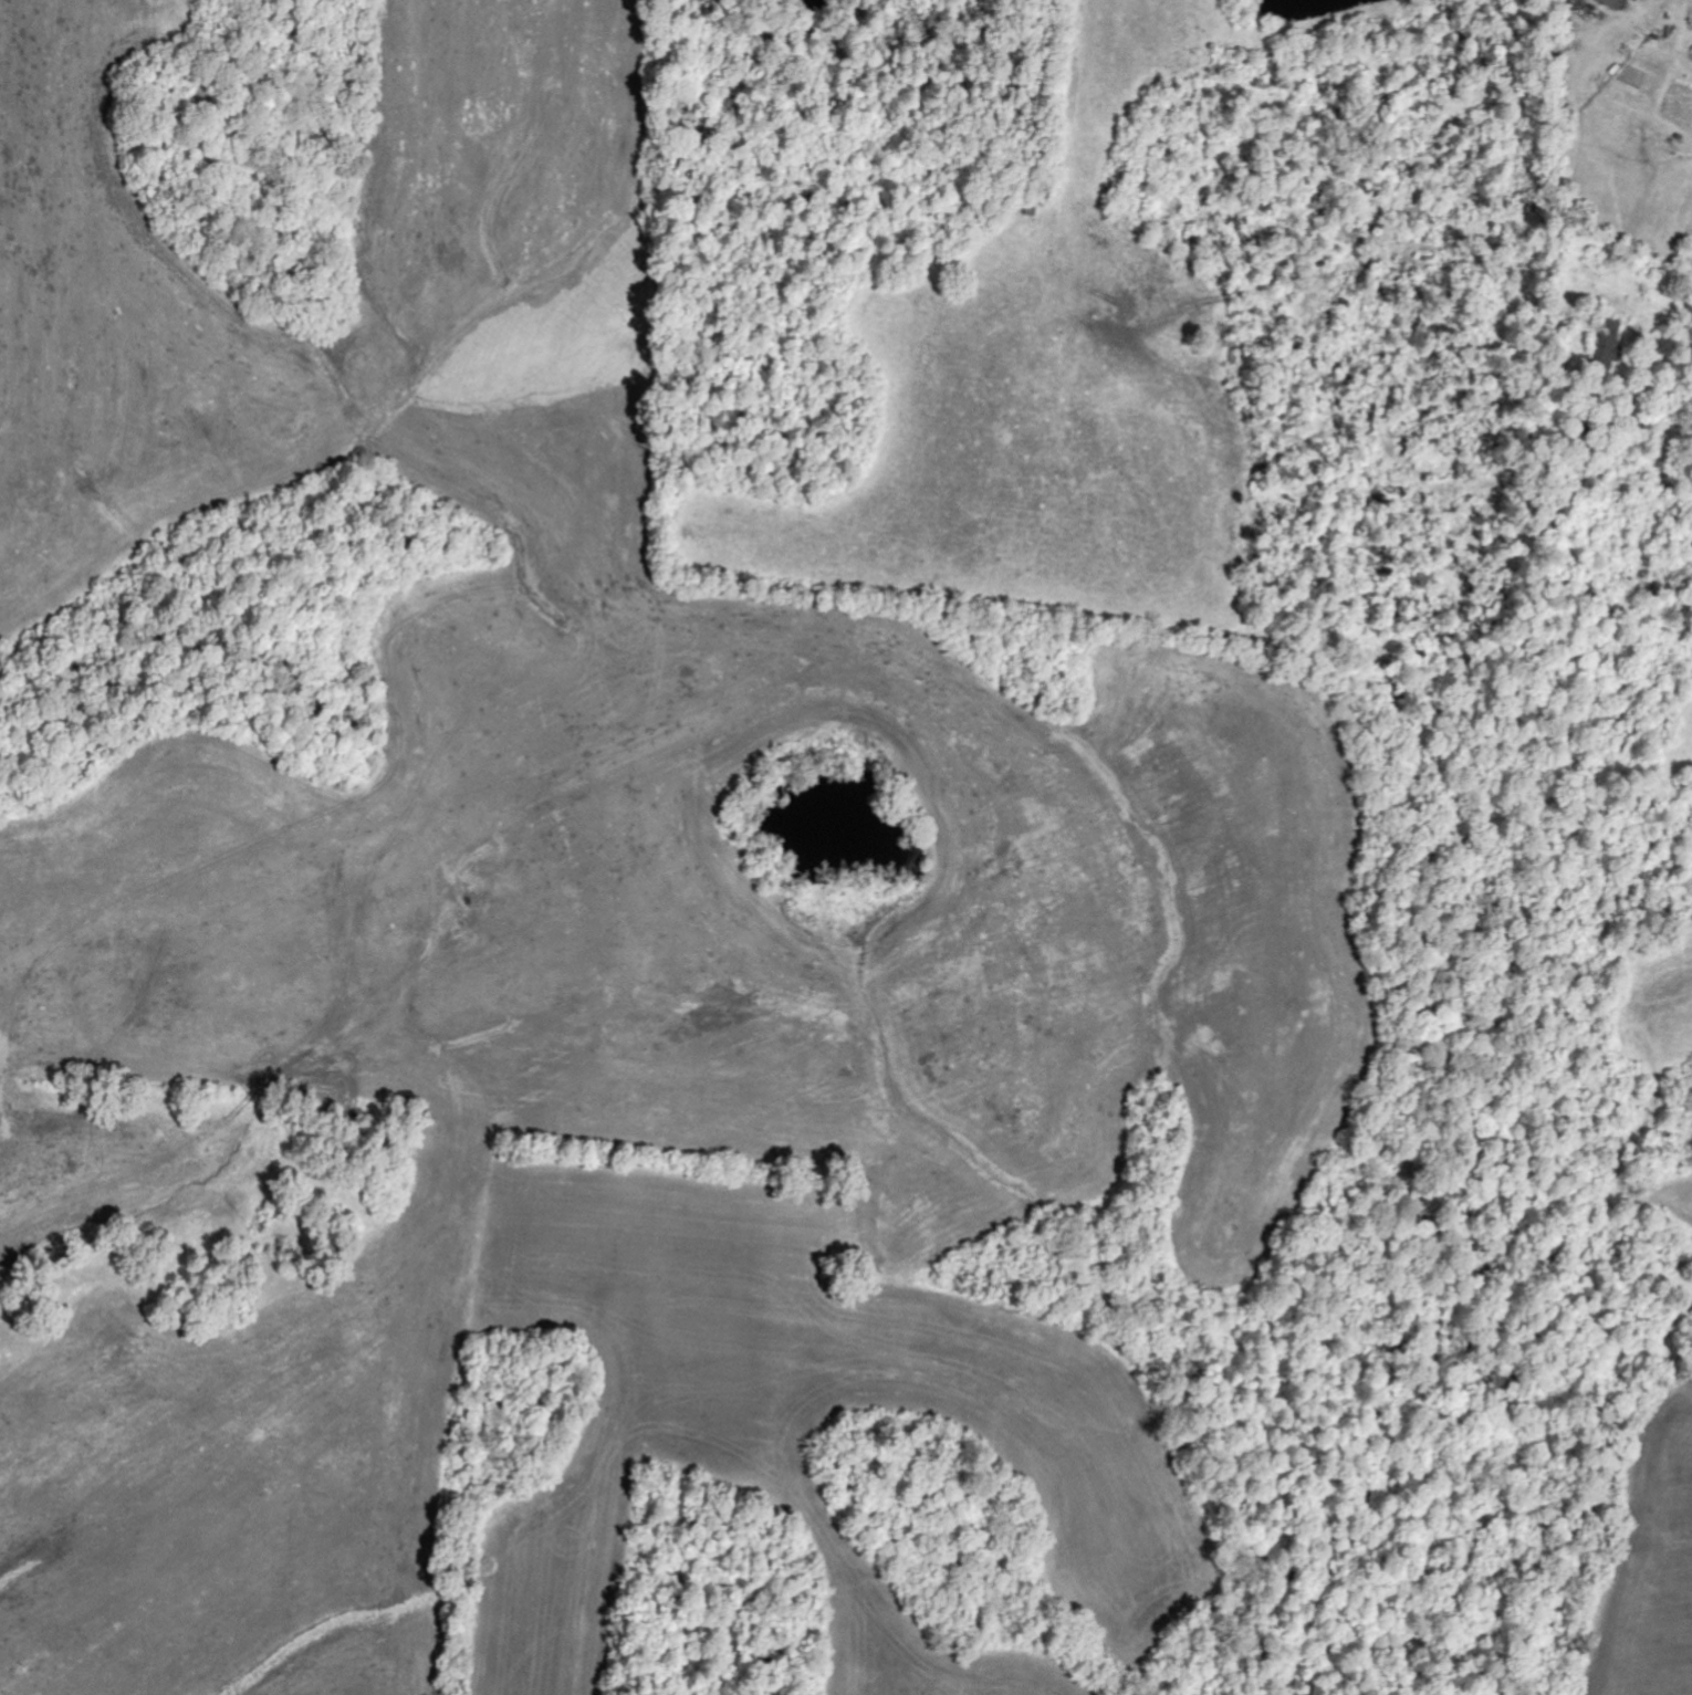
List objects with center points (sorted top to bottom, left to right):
building: (1615, 2)
road: (1650, 229)
building: (1609, 342)

